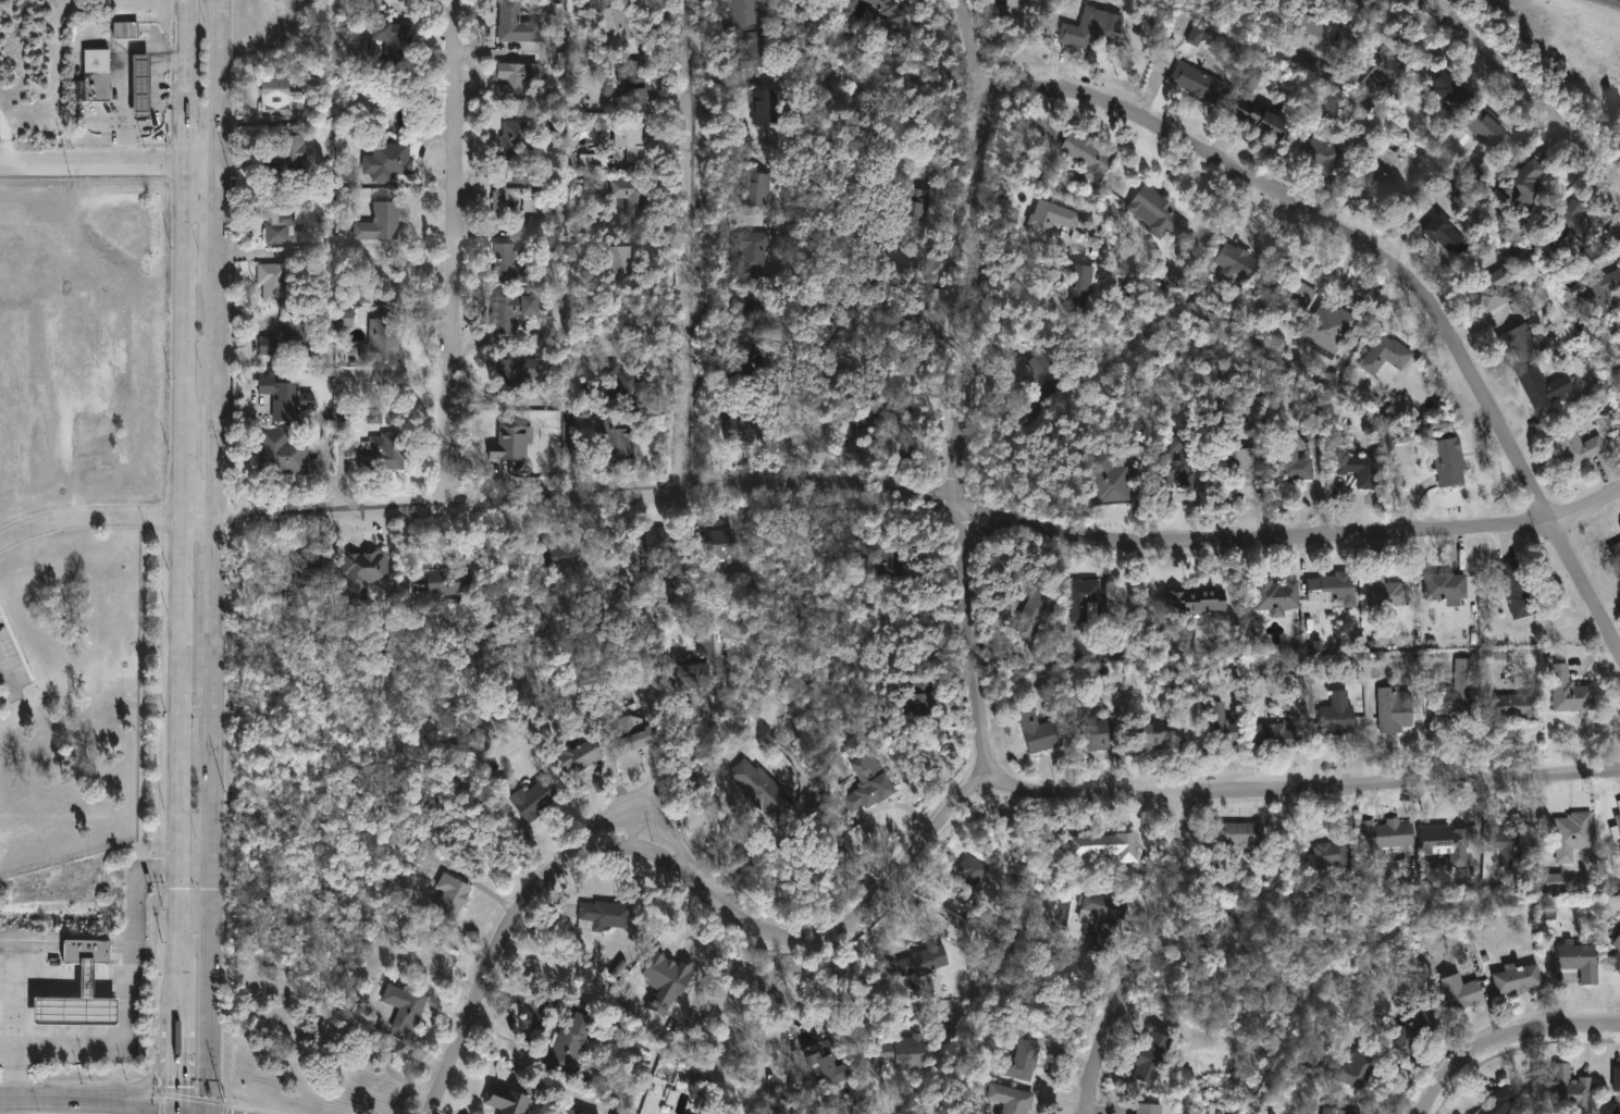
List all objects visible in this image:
building: (851, 7)
building: (749, 11)
building: (891, 11)
building: (517, 23)
building: (1083, 28)
building: (126, 29)
building: (619, 30)
building: (1315, 35)
building: (1196, 36)
building: (394, 38)
road: (190, 48)
building: (759, 48)
road: (160, 57)
building: (583, 63)
road: (125, 70)
building: (1383, 70)
building: (1252, 79)
building: (634, 81)
building: (1198, 82)
road: (221, 84)
road: (1522, 84)
building: (141, 85)
building: (515, 85)
building: (97, 86)
building: (78, 90)
building: (1452, 90)
road: (175, 96)
building: (280, 97)
building: (770, 103)
building: (1262, 116)
road: (151, 122)
building: (1491, 128)
road: (188, 131)
building: (630, 137)
road: (125, 149)
building: (514, 150)
building: (1324, 151)
building: (1089, 153)
building: (288, 159)
building: (392, 160)
building: (594, 160)
road: (62, 165)
road: (182, 166)
road: (203, 166)
road: (150, 168)
building: (1528, 184)
building: (757, 188)
building: (1390, 190)
building: (632, 194)
building: (514, 195)
building: (917, 200)
building: (1161, 210)
building: (1051, 218)
building: (282, 221)
building: (381, 222)
building: (1574, 224)
building: (1447, 234)
road: (696, 245)
building: (753, 249)
road: (457, 252)
building: (620, 261)
building: (892, 262)
building: (1237, 263)
building: (507, 264)
road: (1393, 265)
building: (276, 283)
building: (1080, 285)
building: (1496, 288)
building: (1299, 290)
building: (1602, 290)
building: (753, 305)
building: (916, 311)
building: (510, 312)
building: (344, 317)
building: (1618, 324)
building: (1333, 327)
building: (289, 336)
road: (187, 338)
building: (381, 341)
building: (1523, 342)
building: (1388, 355)
building: (515, 366)
building: (749, 370)
building: (356, 373)
building: (1042, 374)
building: (623, 381)
road: (970, 385)
building: (1544, 385)
building: (285, 394)
building: (746, 421)
building: (899, 432)
building: (617, 441)
building: (512, 443)
building: (1575, 445)
building: (385, 451)
building: (285, 454)
building: (1449, 457)
building: (1179, 459)
building: (1296, 460)
building: (1240, 461)
building: (1360, 468)
building: (1113, 472)
road: (907, 494)
road: (90, 513)
building: (721, 543)
building: (670, 547)
building: (1616, 552)
building: (561, 556)
building: (887, 559)
building: (314, 570)
building: (363, 573)
building: (449, 582)
building: (1447, 585)
building: (1335, 590)
building: (1386, 590)
building: (1519, 591)
building: (1277, 595)
building: (1084, 598)
building: (1201, 598)
building: (1035, 615)
road: (217, 641)
building: (707, 644)
building: (1500, 661)
road: (5, 670)
building: (688, 674)
building: (1572, 691)
building: (1459, 696)
building: (920, 698)
building: (1520, 706)
building: (1398, 710)
building: (1338, 715)
building: (1223, 727)
road: (184, 728)
building: (633, 729)
building: (1157, 729)
building: (1038, 731)
building: (1096, 731)
building: (1277, 735)
road: (700, 738)
building: (580, 755)
building: (869, 787)
building: (760, 790)
road: (1306, 790)
building: (529, 797)
building: (1619, 802)
road: (636, 817)
building: (1619, 818)
building: (1617, 831)
building: (1241, 834)
road: (633, 835)
building: (1388, 835)
building: (1574, 835)
building: (1448, 843)
building: (1105, 845)
building: (1501, 850)
building: (1330, 861)
building: (970, 871)
road: (685, 879)
building: (1556, 882)
building: (452, 899)
building: (604, 915)
building: (1102, 919)
building: (1224, 933)
building: (1617, 944)
building: (86, 950)
road: (1153, 955)
building: (932, 960)
building: (1042, 960)
building: (1582, 961)
building: (1617, 961)
road: (183, 974)
building: (1518, 978)
road: (44, 981)
building: (666, 981)
road: (865, 986)
road: (776, 988)
building: (1461, 992)
building: (74, 1005)
gas station: (74, 1005)
building: (407, 1006)
road: (131, 1016)
road: (182, 1023)
building: (1420, 1031)
road: (804, 1032)
building: (573, 1038)
road: (1511, 1047)
building: (904, 1051)
building: (1152, 1057)
building: (828, 1060)
building: (1021, 1061)
building: (1357, 1068)
building: (1618, 1077)
road: (181, 1078)
road: (148, 1084)
building: (1573, 1089)
building: (507, 1098)
building: (1012, 1098)
building: (1502, 1101)
road: (74, 1107)
building: (1150, 1107)
building: (1609, 1107)
building: (574, 1110)
building: (1337, 1110)

